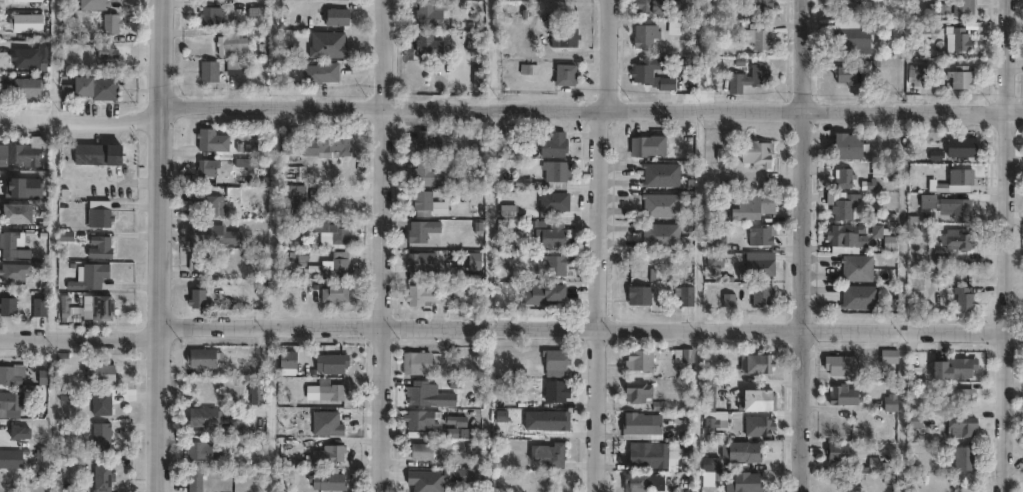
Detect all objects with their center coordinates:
building: (91, 2)
building: (844, 4)
building: (758, 5)
building: (648, 6)
building: (960, 7)
building: (683, 8)
building: (253, 11)
building: (427, 12)
building: (208, 15)
building: (335, 16)
building: (108, 20)
building: (27, 22)
building: (643, 37)
building: (757, 37)
building: (563, 39)
building: (852, 40)
building: (228, 42)
building: (957, 42)
building: (328, 44)
building: (426, 47)
building: (108, 53)
road: (487, 53)
building: (18, 54)
building: (234, 68)
building: (207, 71)
building: (318, 72)
building: (564, 75)
building: (650, 75)
building: (916, 76)
building: (844, 77)
building: (746, 79)
building: (960, 79)
building: (25, 84)
building: (94, 84)
road: (591, 107)
road: (82, 121)
building: (210, 139)
building: (848, 142)
building: (317, 143)
building: (425, 143)
building: (646, 143)
building: (963, 143)
building: (552, 144)
building: (756, 149)
building: (21, 150)
building: (95, 153)
building: (205, 167)
building: (425, 172)
building: (661, 172)
building: (554, 173)
building: (846, 174)
building: (955, 177)
building: (289, 194)
building: (555, 200)
building: (843, 200)
building: (661, 202)
building: (737, 202)
building: (426, 203)
building: (949, 203)
building: (205, 204)
building: (17, 213)
building: (98, 214)
building: (332, 229)
building: (420, 230)
building: (660, 231)
building: (550, 233)
building: (761, 233)
building: (200, 234)
building: (846, 235)
building: (957, 235)
building: (718, 238)
building: (231, 240)
building: (13, 244)
road: (597, 244)
road: (799, 245)
road: (158, 246)
road: (382, 246)
road: (1005, 246)
building: (99, 247)
building: (196, 262)
building: (554, 263)
building: (337, 264)
building: (420, 264)
building: (858, 264)
building: (758, 267)
building: (12, 271)
building: (88, 276)
building: (638, 290)
building: (685, 291)
building: (333, 292)
building: (860, 293)
building: (965, 293)
building: (761, 294)
building: (419, 295)
building: (195, 296)
building: (7, 306)
building: (37, 307)
building: (100, 307)
road: (510, 329)
building: (684, 355)
building: (888, 356)
building: (201, 358)
building: (288, 359)
building: (637, 360)
building: (413, 362)
building: (556, 362)
building: (332, 363)
building: (758, 363)
building: (839, 364)
building: (956, 368)
building: (10, 373)
building: (98, 373)
building: (254, 389)
building: (323, 390)
building: (556, 391)
building: (636, 391)
building: (708, 391)
building: (424, 393)
building: (841, 395)
building: (956, 396)
building: (756, 399)
building: (890, 402)
building: (99, 403)
building: (8, 404)
building: (418, 418)
building: (206, 420)
building: (552, 420)
building: (325, 423)
building: (453, 425)
building: (641, 426)
building: (758, 426)
building: (960, 427)
building: (17, 432)
building: (99, 434)
building: (289, 446)
building: (419, 450)
building: (836, 451)
building: (742, 452)
building: (330, 453)
building: (550, 453)
building: (201, 454)
building: (650, 455)
building: (10, 457)
building: (962, 457)
building: (707, 473)
building: (99, 478)
building: (326, 479)
building: (424, 479)
building: (195, 480)
building: (635, 482)
building: (742, 482)

